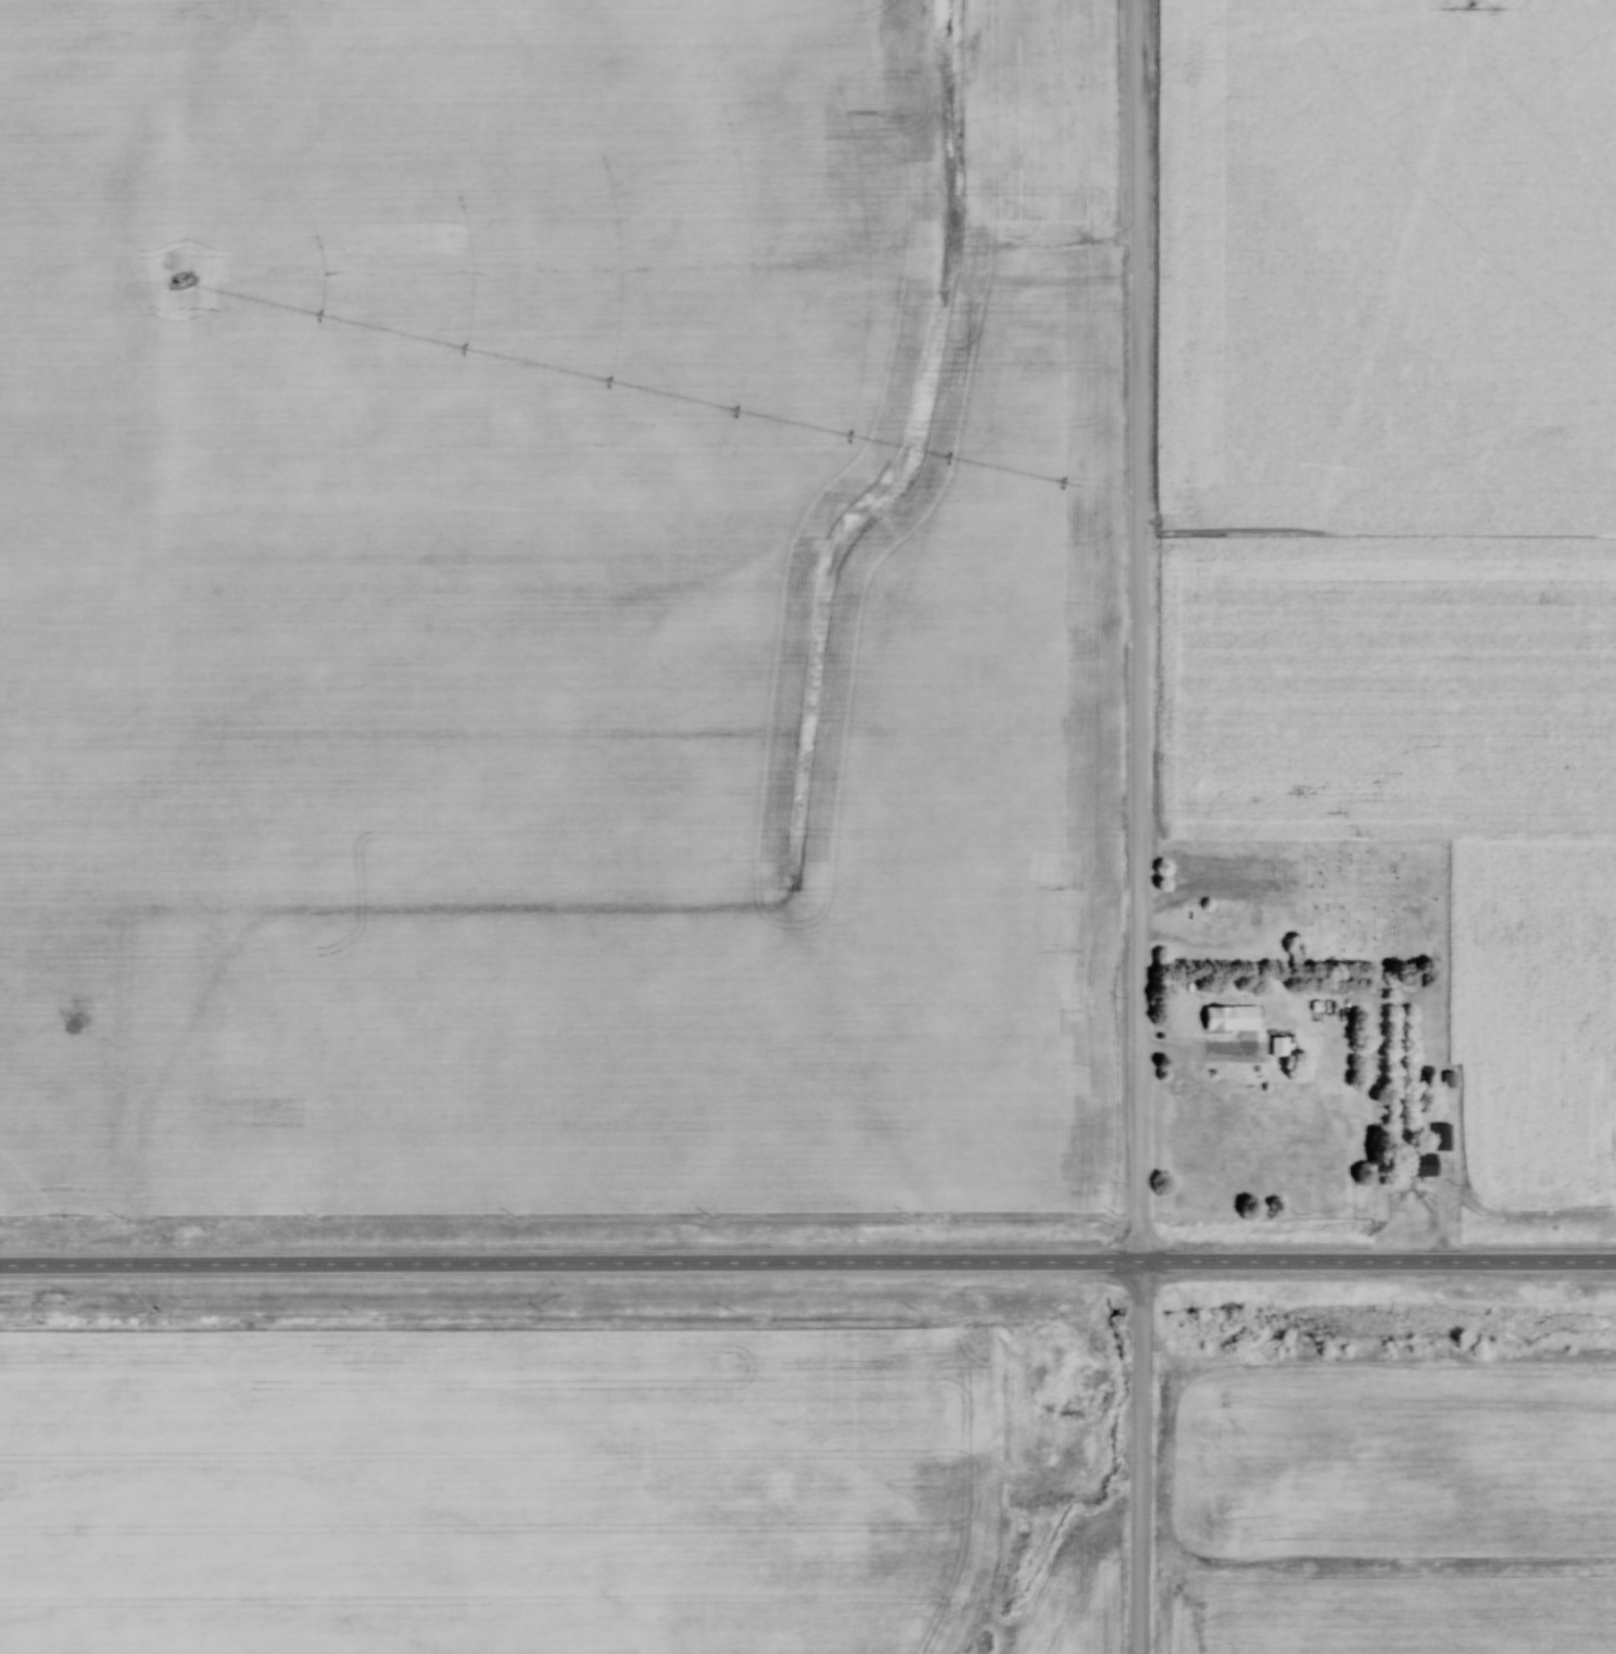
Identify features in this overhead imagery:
building: (1078, 198)
building: (1023, 204)
road: (1141, 826)
building: (1228, 1018)
building: (1278, 1046)
building: (1424, 1074)
building: (1450, 1079)
building: (1430, 1156)
road: (807, 1265)

